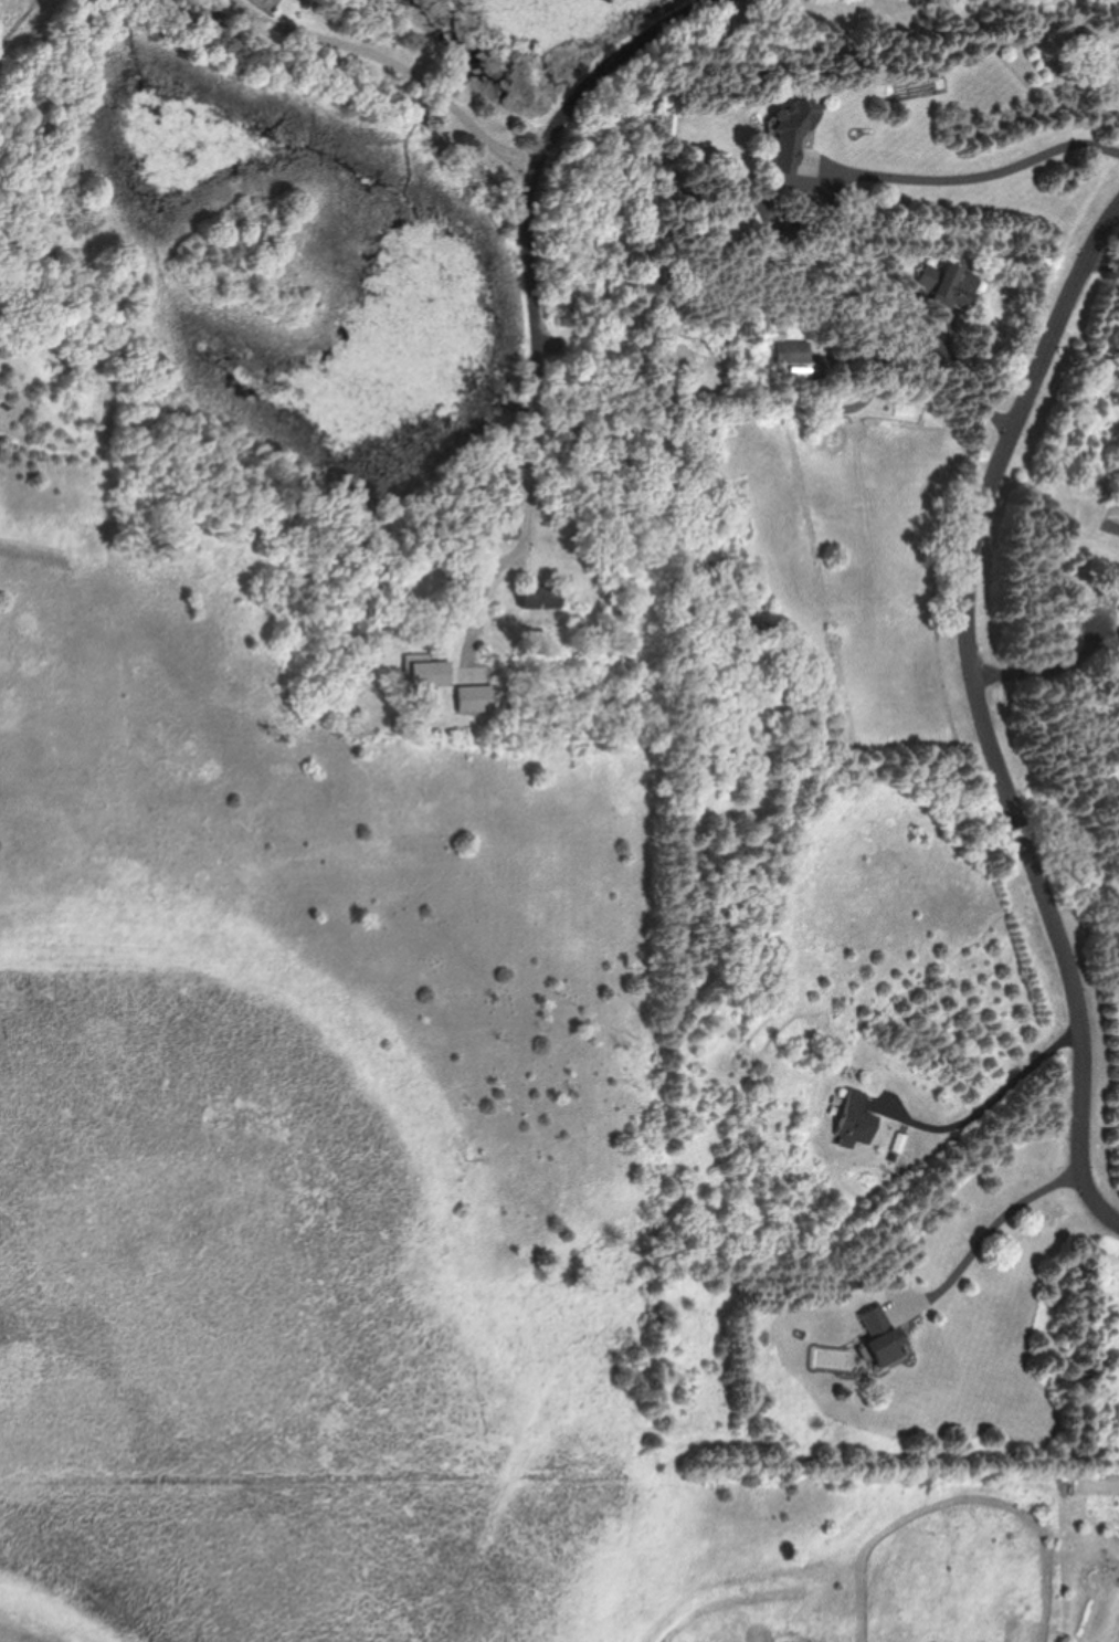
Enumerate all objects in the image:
road: (398, 65)
building: (792, 137)
road: (962, 178)
building: (745, 222)
road: (534, 242)
building: (951, 282)
building: (795, 350)
road: (926, 403)
building: (506, 531)
building: (542, 597)
road: (1051, 659)
building: (434, 673)
road: (985, 719)
road: (981, 1113)
building: (857, 1122)
road: (990, 1236)
building: (885, 1335)

